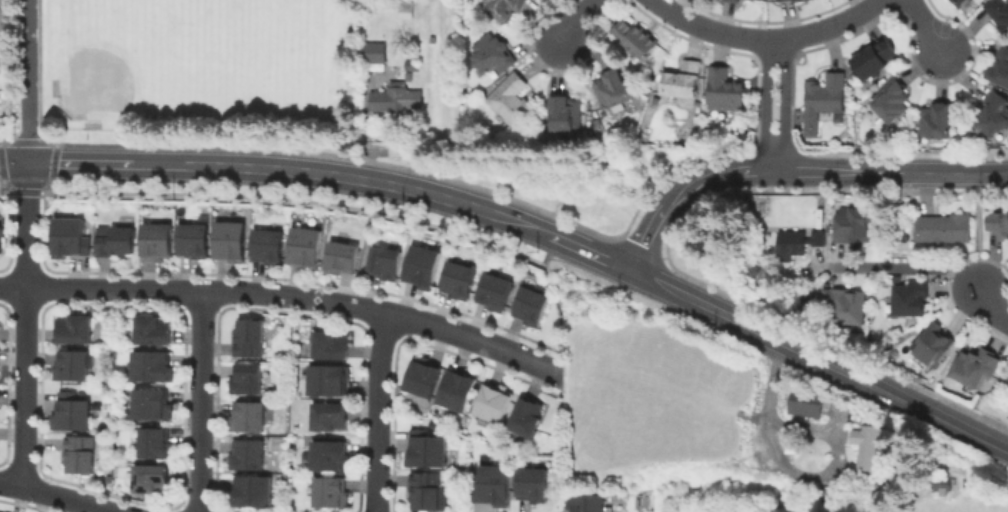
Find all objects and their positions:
building: (731, 0)
building: (738, 0)
building: (779, 0)
building: (797, 0)
building: (956, 2)
building: (963, 2)
building: (503, 9)
building: (405, 11)
building: (999, 13)
road: (581, 22)
road: (930, 26)
park: (270, 37)
building: (634, 37)
road: (768, 42)
building: (371, 52)
building: (491, 58)
park: (157, 61)
building: (412, 65)
building: (871, 65)
building: (1000, 66)
road: (27, 82)
building: (682, 83)
building: (728, 88)
building: (611, 92)
building: (396, 98)
building: (510, 103)
building: (821, 104)
building: (890, 105)
road: (765, 106)
road: (785, 107)
building: (995, 116)
building: (564, 117)
building: (937, 123)
road: (13, 165)
traffic signals: (28, 165)
road: (79, 165)
road: (2, 172)
road: (735, 172)
road: (949, 173)
road: (343, 178)
road: (29, 191)
building: (997, 224)
building: (855, 227)
road: (10, 228)
building: (946, 229)
road: (979, 231)
building: (2, 239)
building: (71, 239)
building: (119, 239)
building: (162, 239)
building: (195, 241)
building: (233, 242)
building: (271, 246)
building: (307, 249)
building: (804, 250)
road: (590, 254)
building: (344, 257)
building: (386, 263)
road: (902, 267)
building: (424, 268)
building: (459, 281)
building: (495, 292)
road: (279, 296)
building: (912, 302)
road: (40, 305)
building: (530, 308)
building: (846, 308)
road: (990, 309)
road: (25, 326)
building: (77, 330)
building: (155, 330)
building: (251, 339)
building: (332, 346)
building: (933, 347)
road: (820, 362)
building: (74, 366)
building: (153, 366)
building: (976, 372)
building: (425, 379)
building: (247, 380)
building: (329, 381)
building: (1006, 383)
building: (460, 392)
road: (201, 402)
building: (806, 403)
building: (496, 404)
building: (155, 405)
building: (73, 412)
road: (377, 413)
building: (331, 418)
building: (528, 418)
building: (247, 419)
building: (158, 444)
building: (866, 448)
building: (427, 450)
building: (81, 455)
building: (250, 455)
building: (331, 456)
road: (795, 471)
building: (153, 478)
building: (942, 483)
building: (537, 486)
building: (494, 487)
building: (254, 492)
building: (333, 492)
building: (427, 493)
road: (55, 496)
building: (590, 503)

